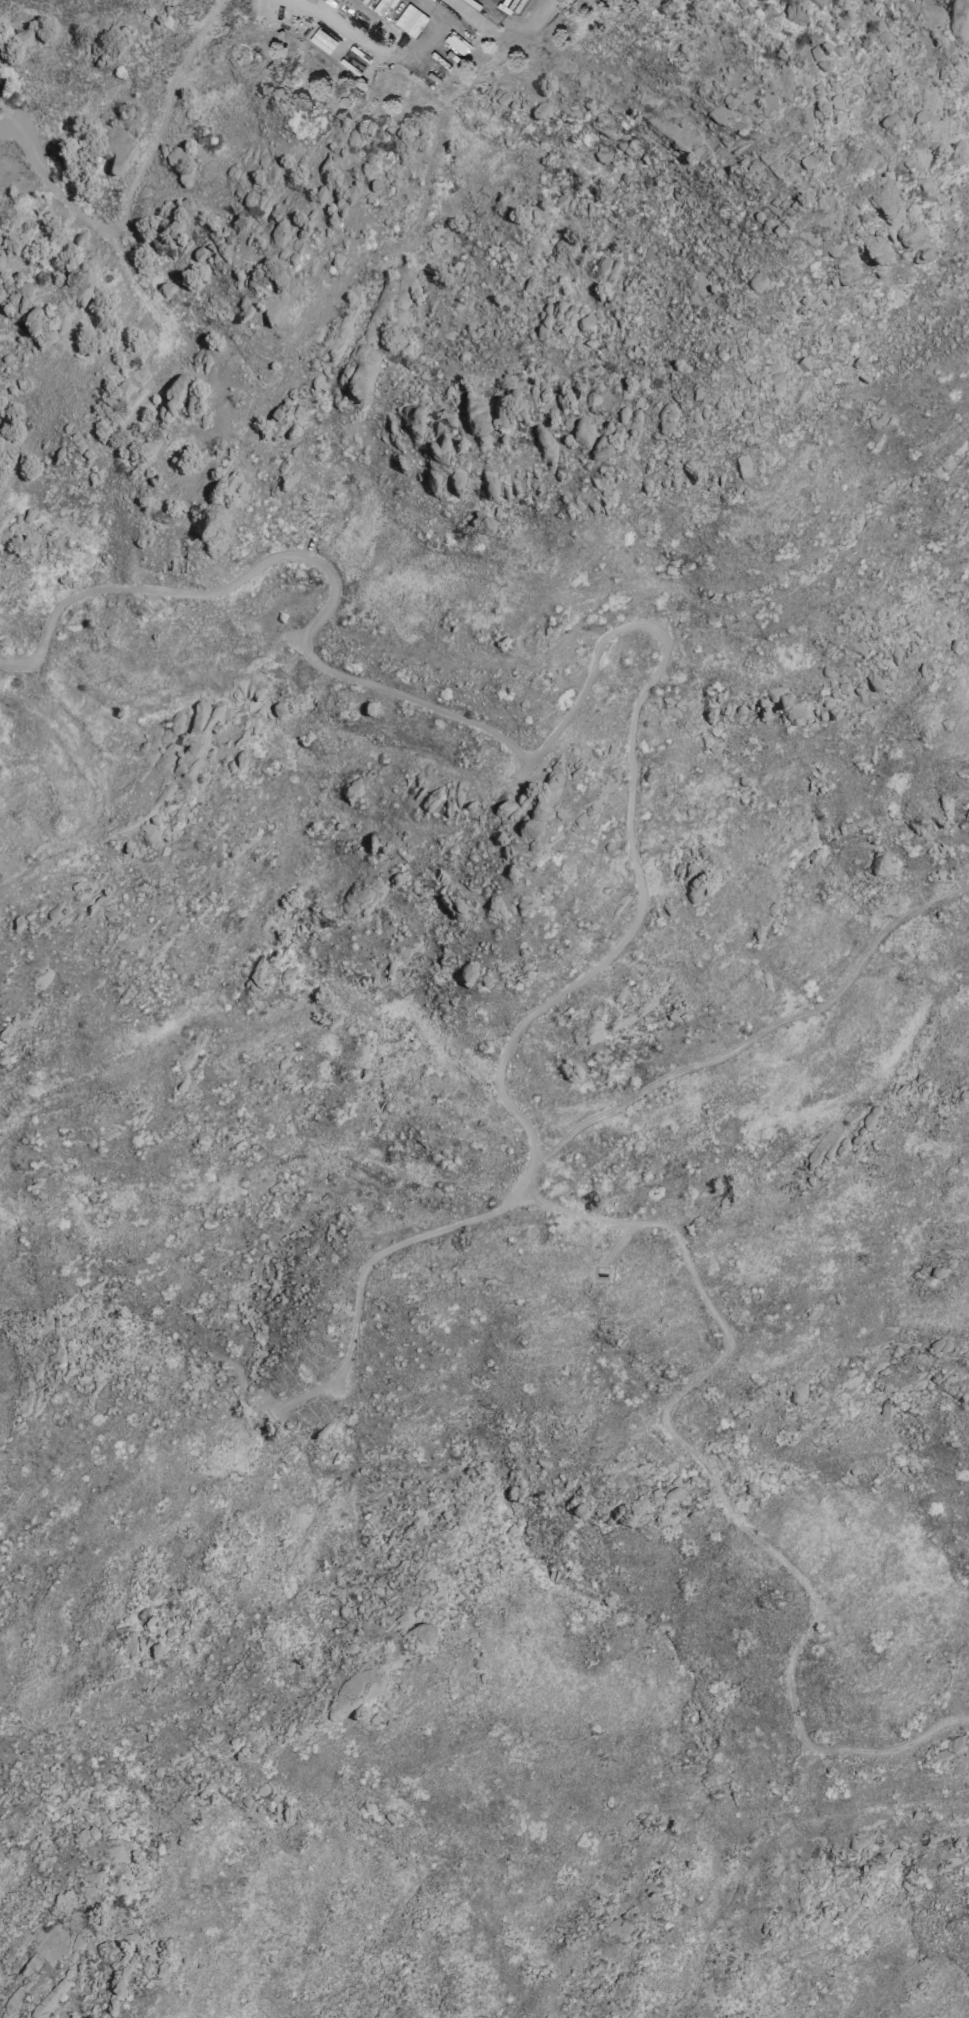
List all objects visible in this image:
building: (819, 2)
building: (409, 20)
building: (321, 40)
road: (384, 53)
building: (276, 95)
building: (834, 108)
building: (540, 113)
building: (925, 119)
building: (889, 124)
building: (959, 152)
building: (701, 153)
building: (808, 161)
road: (133, 187)
building: (882, 197)
building: (187, 210)
building: (911, 240)
building: (605, 271)
building: (21, 295)
building: (177, 388)
building: (412, 422)
building: (583, 433)
building: (439, 443)
building: (483, 521)
road: (87, 778)
building: (532, 831)
building: (503, 846)
building: (711, 858)
building: (880, 867)
building: (671, 1495)
building: (425, 1632)
building: (952, 1747)

